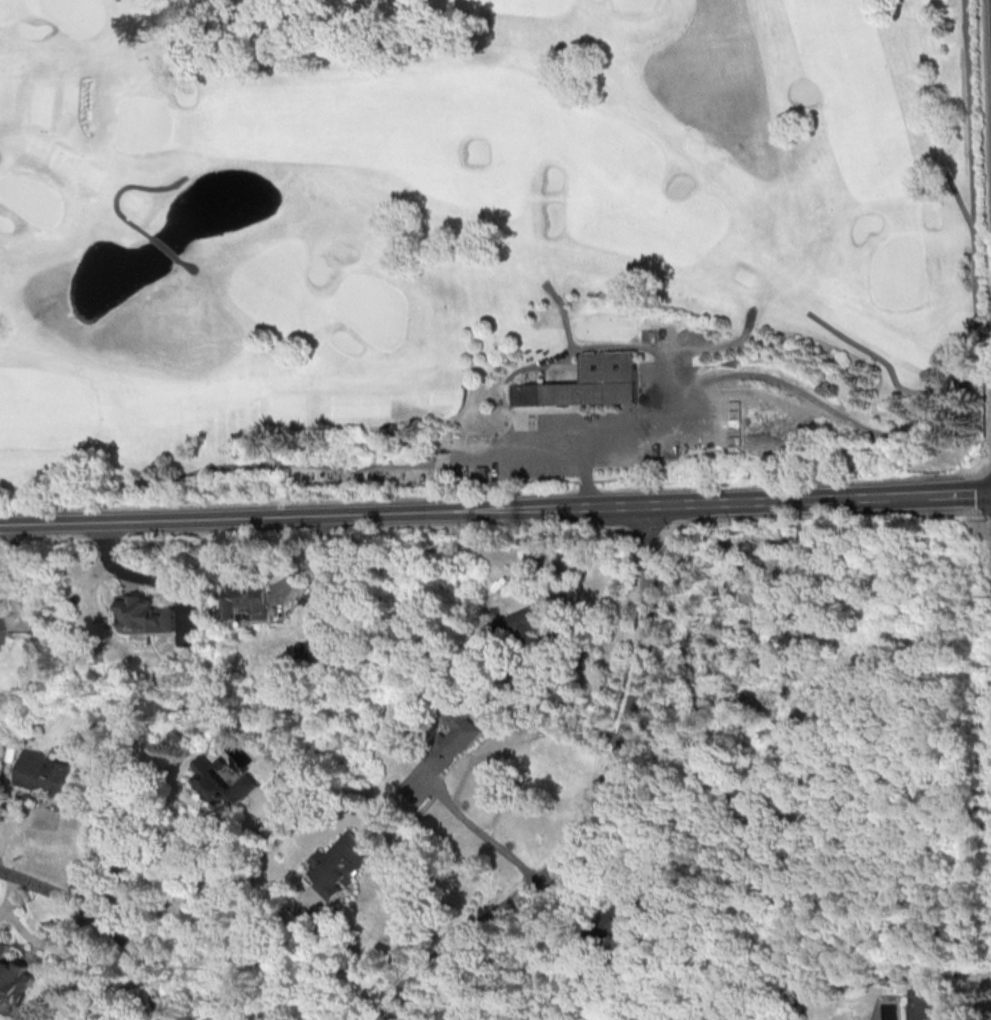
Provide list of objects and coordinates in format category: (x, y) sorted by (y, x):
road: (122, 190)
road: (958, 204)
park: (487, 247)
road: (163, 249)
road: (186, 266)
road: (972, 289)
road: (561, 313)
road: (579, 347)
building: (587, 385)
road: (822, 409)
parking lot: (554, 447)
road: (565, 447)
road: (282, 463)
road: (818, 496)
road: (323, 515)
road: (140, 576)
building: (144, 614)
building: (518, 623)
road: (579, 662)
building: (451, 739)
building: (45, 773)
building: (219, 784)
road: (12, 801)
road: (595, 802)
road: (481, 834)
building: (338, 863)
road: (195, 890)
building: (621, 916)
road: (102, 922)
road: (159, 934)
road: (356, 949)
building: (14, 977)
road: (488, 979)
road: (118, 991)
building: (922, 1003)

